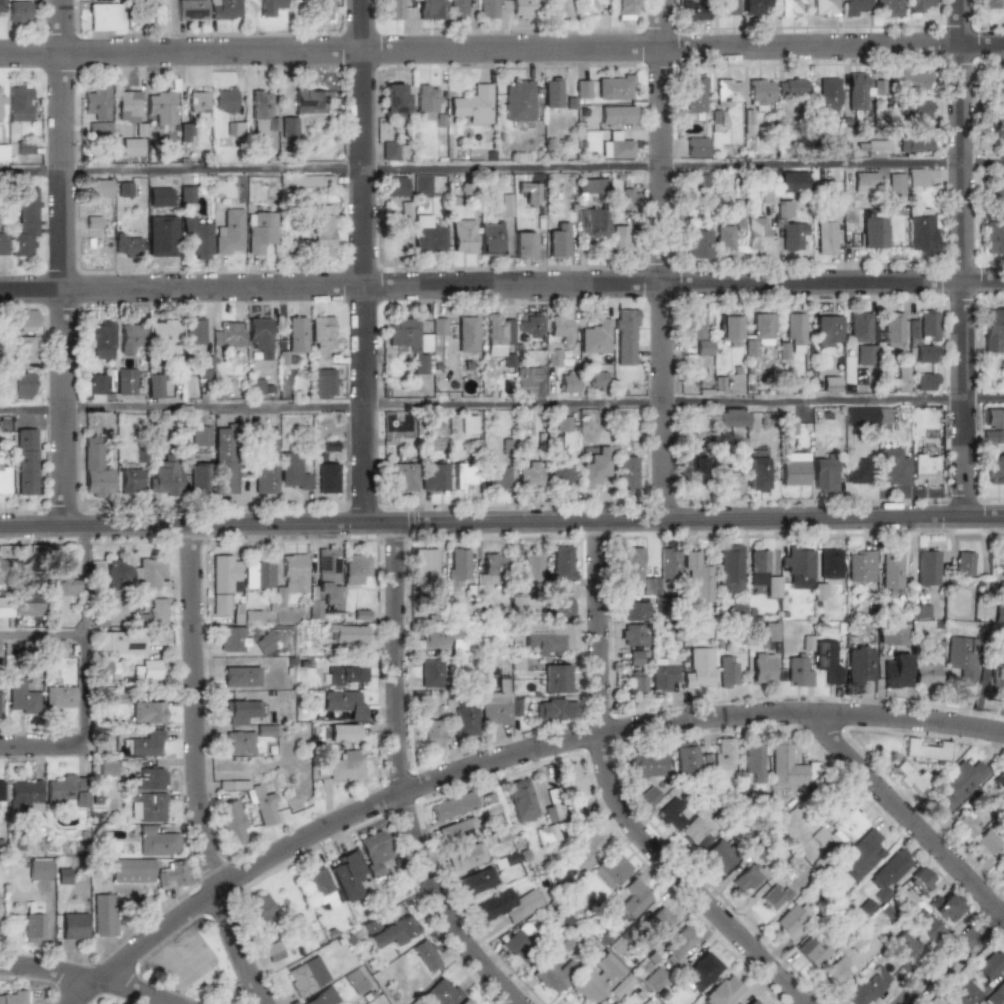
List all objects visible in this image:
building: (988, 4)
building: (920, 5)
building: (1, 6)
building: (588, 6)
building: (270, 7)
building: (727, 7)
building: (755, 7)
building: (825, 7)
building: (854, 7)
building: (457, 8)
building: (487, 8)
building: (522, 8)
building: (559, 8)
building: (790, 8)
building: (888, 8)
building: (191, 9)
building: (224, 9)
building: (322, 9)
building: (393, 9)
building: (429, 9)
building: (694, 10)
building: (19, 11)
building: (106, 17)
road: (501, 49)
building: (911, 81)
building: (614, 88)
building: (790, 88)
building: (582, 89)
building: (995, 89)
building: (862, 90)
building: (727, 92)
building: (552, 93)
building: (759, 93)
building: (693, 94)
building: (826, 95)
building: (393, 99)
building: (425, 99)
building: (224, 100)
building: (195, 101)
building: (311, 101)
building: (519, 101)
building: (19, 103)
building: (474, 105)
building: (127, 106)
building: (159, 107)
building: (0, 110)
building: (96, 110)
building: (916, 110)
building: (259, 114)
building: (616, 115)
building: (286, 128)
building: (232, 129)
building: (183, 131)
building: (913, 142)
building: (832, 145)
building: (23, 147)
building: (616, 147)
building: (697, 147)
building: (871, 147)
building: (389, 151)
building: (3, 153)
road: (501, 167)
building: (998, 176)
building: (915, 177)
building: (300, 181)
building: (793, 182)
building: (864, 182)
building: (421, 185)
building: (394, 186)
building: (593, 186)
building: (895, 187)
building: (98, 188)
building: (123, 189)
building: (529, 192)
building: (185, 195)
building: (767, 195)
building: (158, 197)
building: (995, 197)
building: (628, 198)
building: (502, 206)
building: (783, 209)
building: (592, 222)
building: (25, 223)
building: (259, 231)
building: (920, 231)
building: (228, 233)
building: (321, 233)
building: (872, 233)
building: (756, 234)
building: (428, 235)
building: (161, 236)
building: (462, 236)
building: (792, 236)
building: (993, 236)
building: (196, 237)
building: (723, 238)
building: (825, 238)
building: (491, 239)
building: (619, 240)
building: (557, 241)
building: (2, 244)
building: (696, 244)
building: (126, 245)
building: (523, 245)
road: (963, 258)
road: (664, 260)
road: (364, 261)
road: (63, 263)
road: (501, 285)
building: (20, 319)
building: (531, 325)
building: (695, 325)
building: (439, 326)
building: (729, 327)
building: (859, 327)
building: (561, 328)
building: (923, 328)
building: (795, 329)
building: (828, 330)
building: (892, 330)
building: (194, 331)
building: (993, 331)
building: (467, 334)
building: (498, 334)
building: (760, 334)
building: (228, 335)
building: (296, 335)
building: (408, 335)
building: (131, 337)
building: (164, 337)
building: (259, 337)
building: (626, 337)
building: (596, 338)
building: (321, 339)
building: (101, 340)
building: (704, 347)
building: (23, 350)
building: (926, 354)
building: (866, 355)
building: (553, 357)
building: (282, 358)
building: (422, 364)
building: (204, 367)
building: (901, 378)
building: (598, 379)
building: (526, 380)
building: (126, 381)
building: (568, 382)
building: (925, 382)
building: (323, 383)
building: (97, 384)
building: (831, 384)
building: (19, 386)
building: (154, 386)
building: (255, 386)
road: (501, 404)
building: (864, 416)
building: (994, 418)
building: (730, 419)
building: (469, 424)
building: (562, 424)
building: (788, 428)
building: (200, 436)
building: (329, 446)
building: (266, 460)
building: (225, 461)
building: (26, 462)
building: (892, 467)
building: (95, 468)
building: (595, 468)
building: (696, 468)
building: (923, 469)
building: (995, 469)
building: (795, 470)
building: (292, 471)
building: (857, 471)
building: (626, 472)
building: (758, 474)
building: (824, 474)
building: (529, 475)
building: (166, 476)
building: (463, 476)
building: (561, 476)
building: (401, 477)
building: (327, 478)
building: (435, 478)
building: (496, 478)
building: (197, 479)
building: (3, 480)
building: (130, 481)
building: (727, 481)
road: (501, 522)
building: (562, 563)
building: (830, 564)
building: (964, 564)
building: (424, 565)
building: (459, 565)
building: (669, 565)
building: (630, 566)
building: (860, 566)
building: (798, 567)
building: (532, 568)
building: (730, 568)
building: (927, 568)
building: (29, 569)
building: (356, 569)
building: (891, 569)
building: (2, 570)
building: (491, 570)
building: (149, 573)
building: (293, 573)
building: (762, 573)
building: (118, 574)
building: (225, 575)
building: (259, 575)
building: (327, 576)
building: (698, 577)
building: (61, 579)
building: (651, 586)
building: (820, 591)
building: (27, 603)
building: (221, 604)
building: (559, 604)
building: (4, 607)
building: (634, 611)
building: (920, 611)
building: (153, 613)
building: (999, 614)
building: (362, 615)
building: (252, 617)
building: (771, 632)
building: (348, 633)
road: (43, 634)
building: (891, 634)
road: (86, 636)
building: (633, 636)
building: (546, 637)
building: (233, 640)
building: (443, 640)
building: (120, 642)
building: (264, 644)
building: (937, 648)
building: (55, 649)
building: (963, 656)
building: (635, 658)
building: (827, 661)
building: (859, 666)
building: (105, 668)
building: (699, 668)
building: (763, 668)
building: (145, 670)
building: (728, 671)
building: (896, 671)
building: (798, 672)
building: (998, 672)
building: (347, 674)
building: (432, 674)
building: (663, 674)
building: (926, 675)
building: (240, 677)
building: (556, 679)
building: (636, 683)
building: (19, 696)
building: (58, 697)
building: (346, 703)
building: (497, 704)
building: (515, 707)
building: (554, 710)
building: (240, 711)
building: (145, 712)
building: (465, 721)
building: (264, 730)
building: (342, 732)
building: (431, 733)
building: (238, 743)
road: (42, 745)
building: (142, 745)
building: (924, 750)
building: (725, 754)
road: (506, 757)
building: (686, 758)
building: (754, 761)
building: (785, 764)
building: (648, 765)
building: (345, 766)
building: (106, 767)
road: (196, 771)
building: (909, 777)
building: (150, 779)
road: (400, 781)
building: (571, 781)
building: (999, 781)
building: (959, 783)
building: (233, 785)
building: (66, 790)
building: (1, 791)
building: (25, 795)
building: (648, 797)
road: (616, 799)
building: (520, 800)
building: (262, 805)
building: (452, 806)
building: (148, 808)
building: (672, 814)
road: (906, 814)
building: (970, 819)
building: (231, 822)
building: (843, 829)
building: (694, 830)
building: (457, 831)
building: (546, 834)
building: (986, 841)
building: (157, 842)
building: (586, 849)
building: (373, 851)
building: (860, 855)
building: (720, 856)
building: (466, 857)
building: (507, 860)
building: (1002, 860)
building: (40, 868)
building: (131, 871)
building: (610, 871)
building: (890, 871)
building: (64, 875)
building: (172, 875)
building: (348, 875)
building: (748, 877)
building: (920, 879)
building: (476, 881)
building: (320, 887)
building: (774, 897)
building: (634, 898)
building: (509, 905)
building: (947, 907)
building: (866, 908)
building: (259, 909)
building: (104, 914)
building: (657, 921)
building: (791, 922)
building: (33, 924)
building: (74, 925)
building: (925, 925)
building: (390, 931)
building: (677, 943)
building: (519, 944)
building: (905, 946)
building: (816, 947)
building: (273, 951)
building: (425, 955)
road: (954, 957)
park: (184, 958)
building: (990, 966)
park: (196, 967)
building: (838, 970)
building: (551, 972)
building: (699, 972)
building: (307, 976)
road: (86, 978)
building: (598, 978)
building: (358, 979)
building: (653, 979)
building: (621, 986)
building: (868, 987)
building: (721, 991)
building: (442, 992)
building: (964, 993)
building: (996, 994)
building: (14, 997)
building: (323, 997)
building: (464, 1001)
building: (751, 1002)
building: (104, 1003)
building: (613, 1003)

